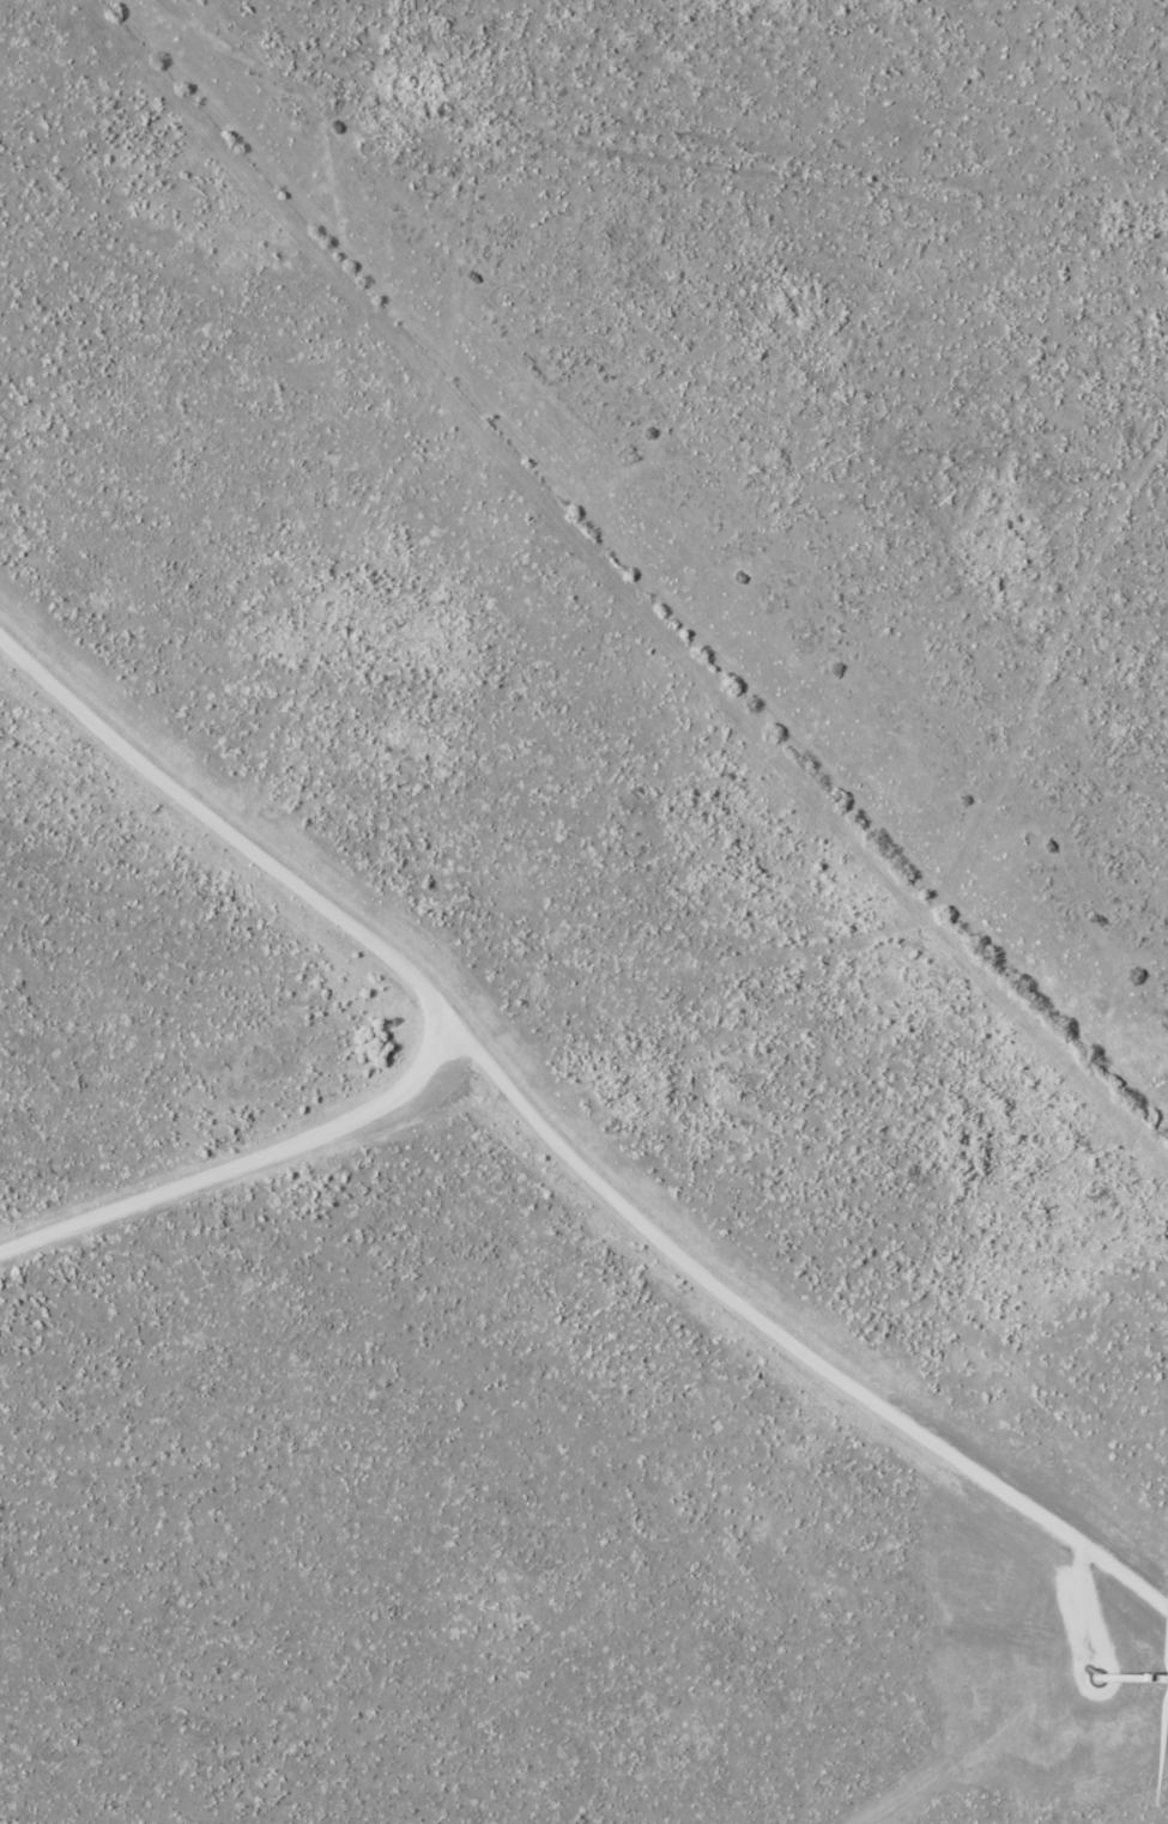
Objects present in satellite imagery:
road: (563, 1177)
wind turbine: (1083, 1668)

